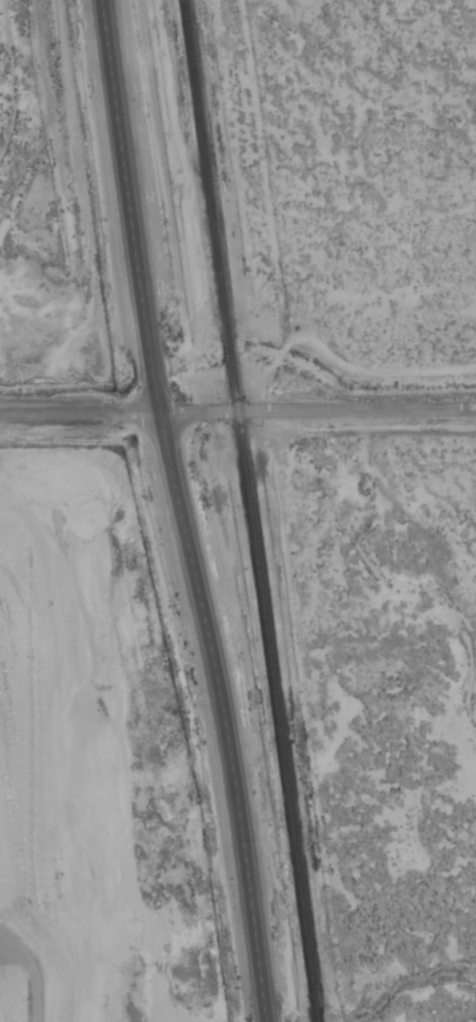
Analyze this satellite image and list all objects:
railway: (205, 169)
wastewater plant: (42, 211)
railway: (229, 348)
road: (237, 410)
road: (178, 511)
railway: (272, 682)
wastewater plant: (92, 761)
road: (25, 978)
railway: (316, 1014)

